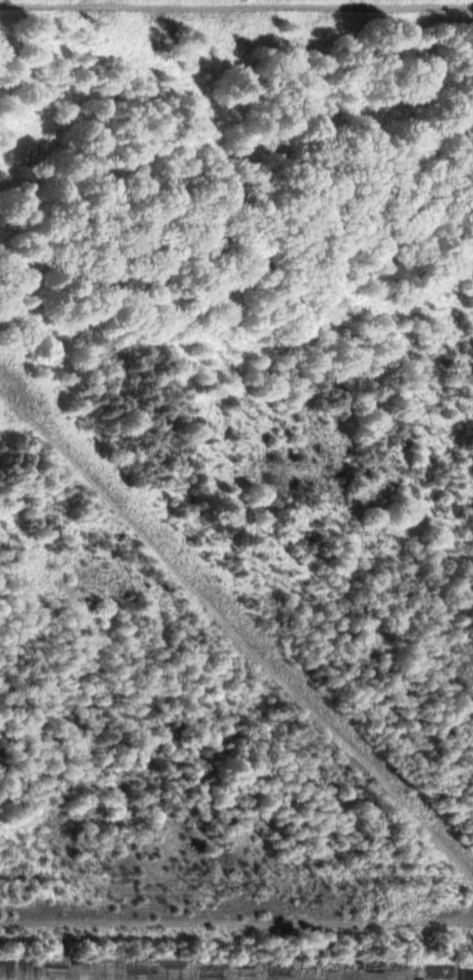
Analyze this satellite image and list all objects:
building: (165, 968)
building: (437, 972)
building: (466, 974)

